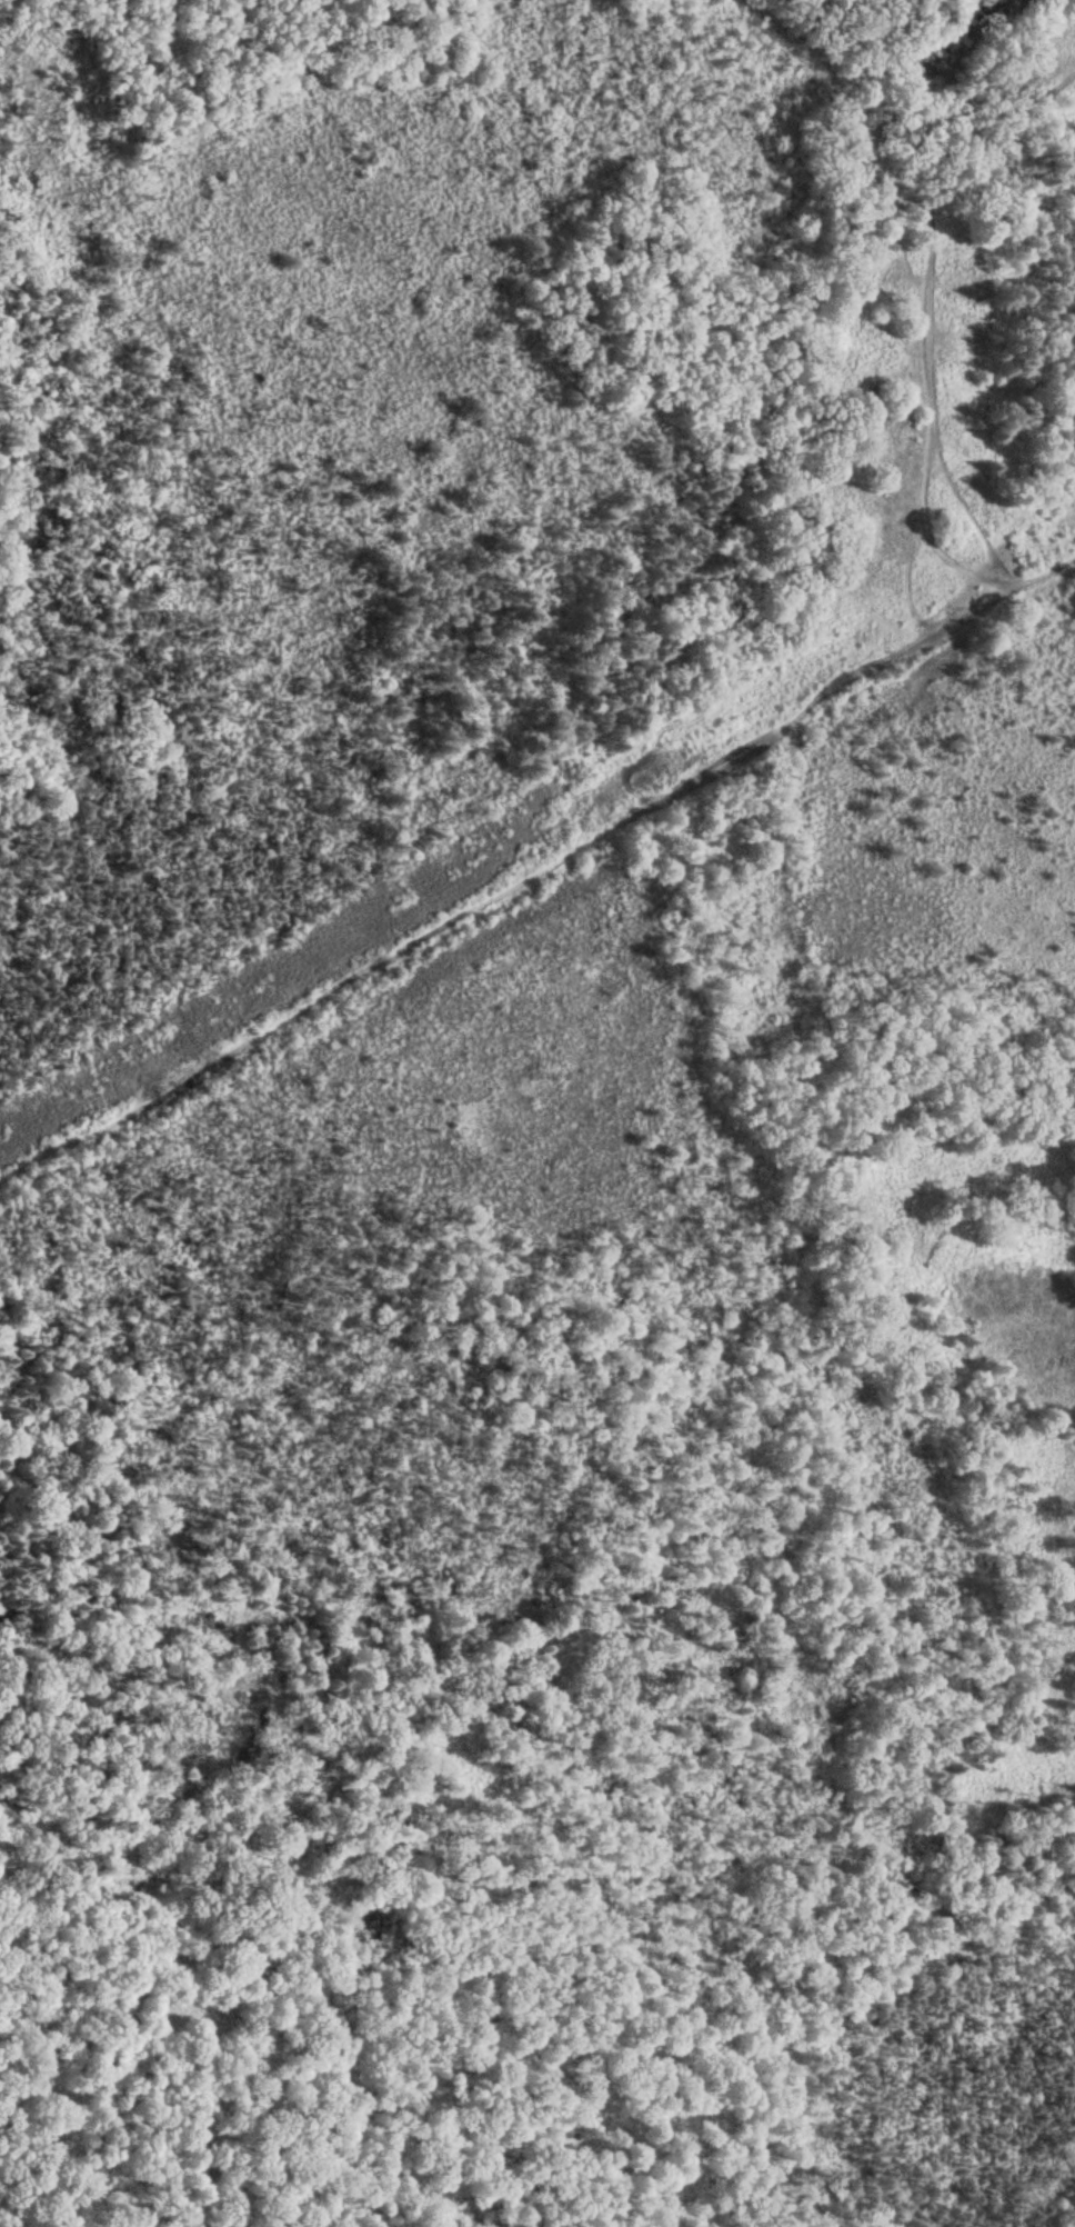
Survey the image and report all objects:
road: (1058, 98)
road: (911, 273)
road: (920, 360)
road: (910, 615)

